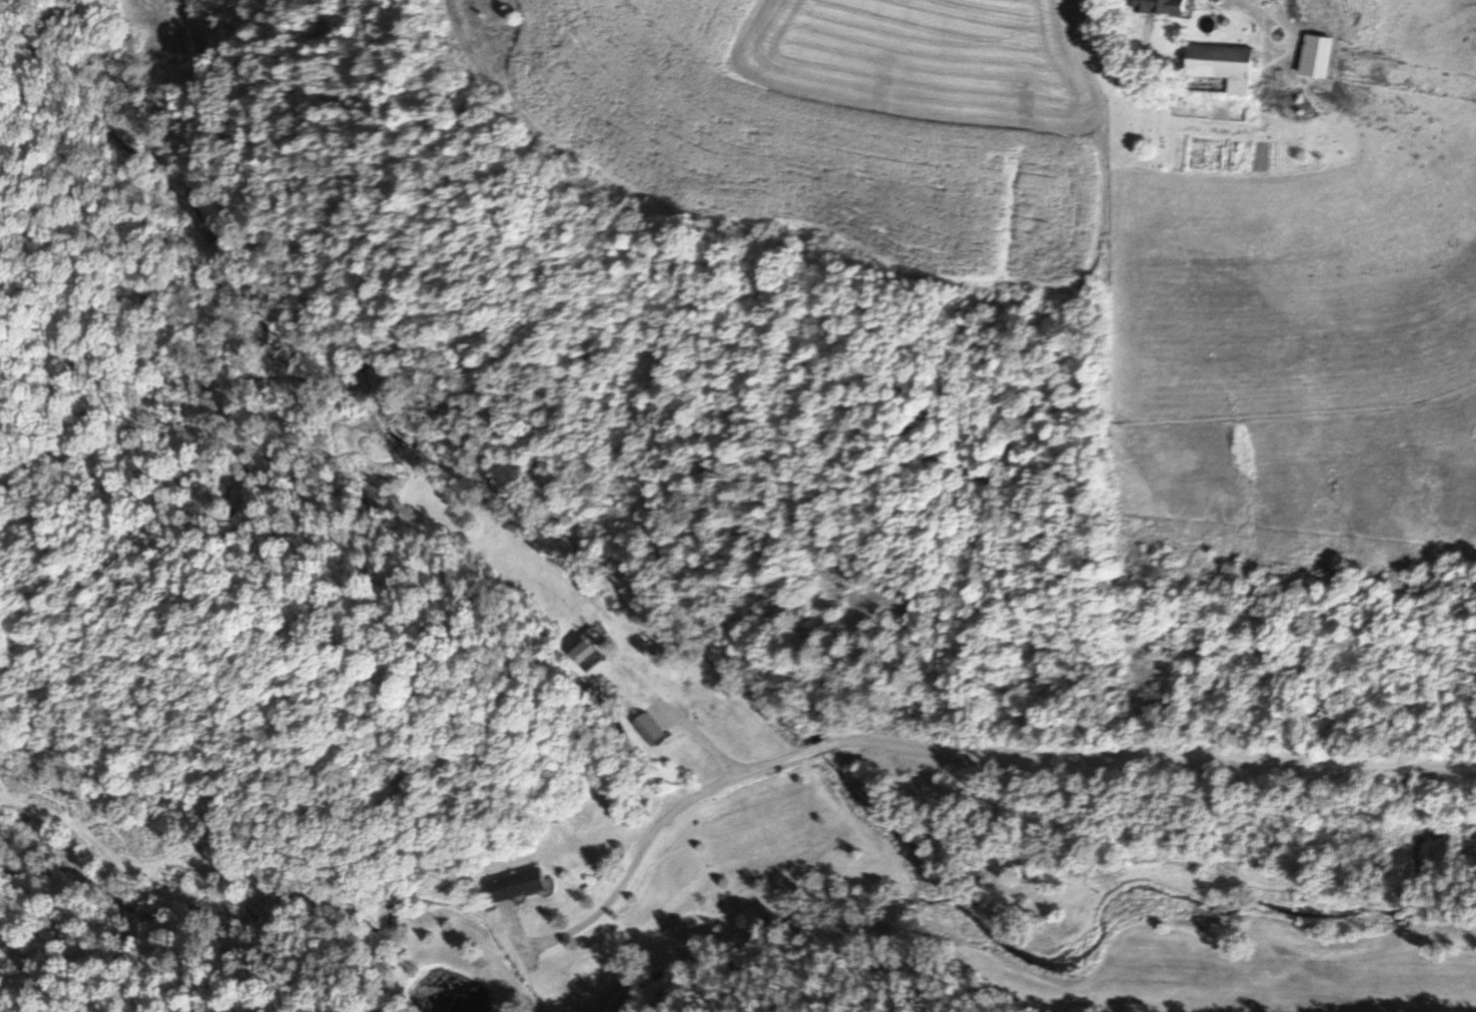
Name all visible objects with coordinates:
building: (1159, 8)
road: (1263, 31)
building: (1313, 58)
building: (1217, 69)
building: (583, 648)
road: (694, 720)
building: (643, 728)
road: (1094, 750)
road: (620, 879)
building: (513, 885)

